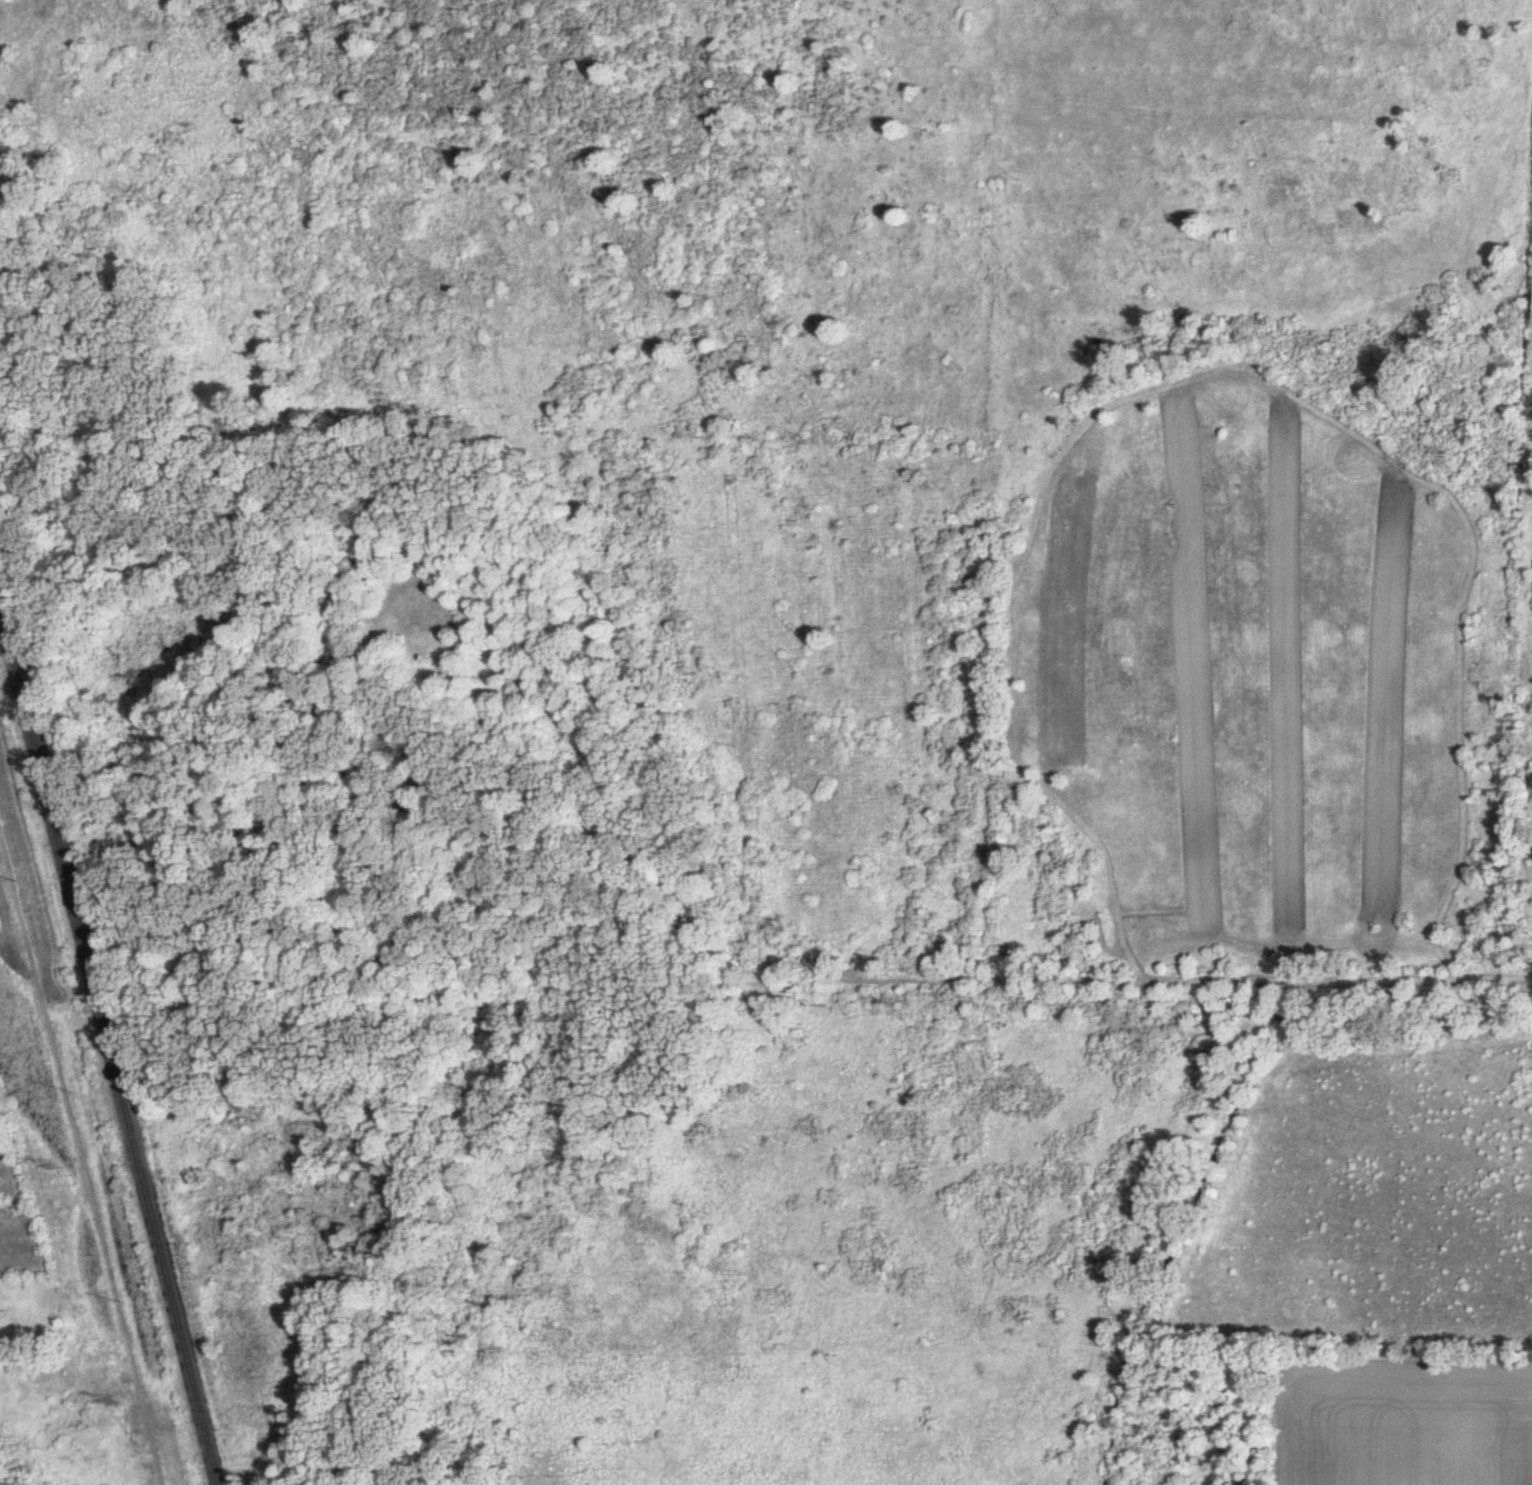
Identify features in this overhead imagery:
building: (1531, 782)
railway: (110, 1044)
power tower: (57, 1169)
power tower: (115, 1403)
building: (1179, 1459)

